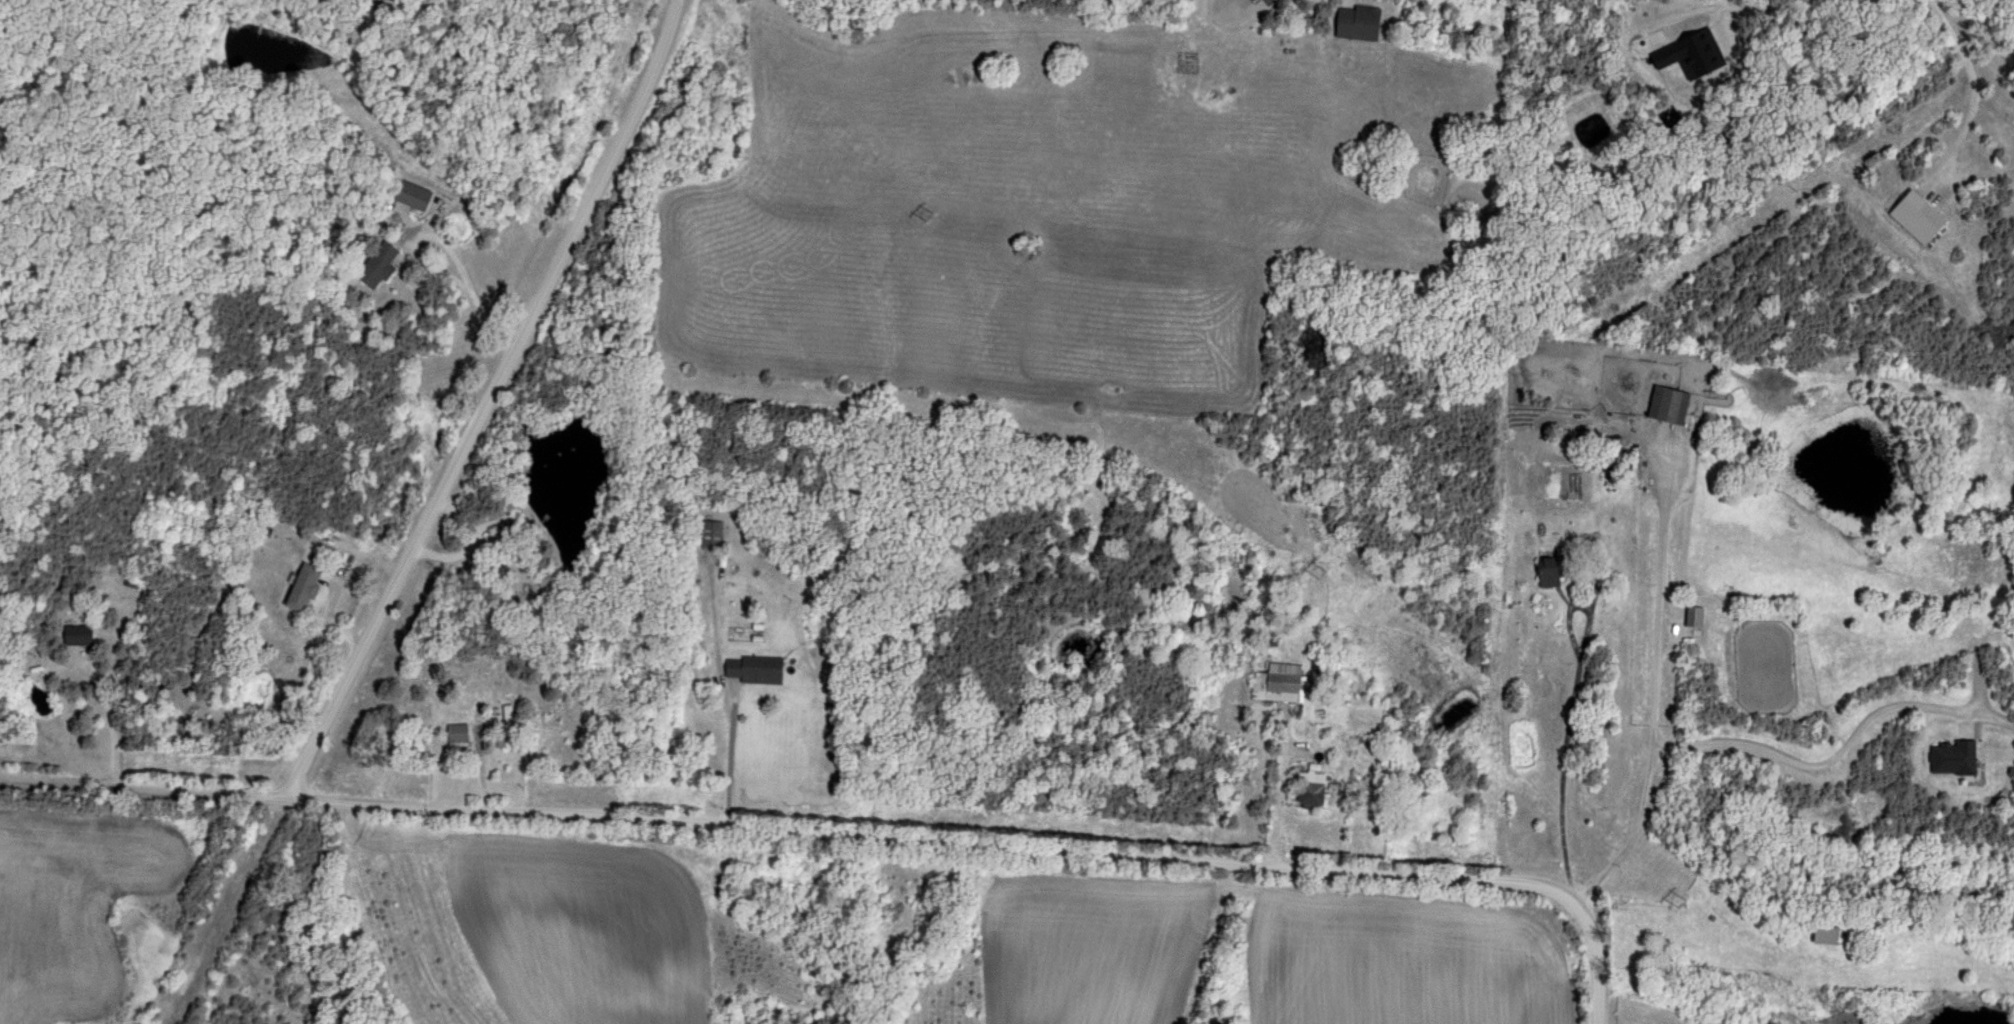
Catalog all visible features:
road: (1724, 4)
road: (1243, 9)
building: (1361, 23)
road: (1969, 79)
building: (416, 197)
power tower: (931, 215)
building: (1920, 217)
road: (441, 243)
building: (379, 264)
road: (484, 400)
building: (1670, 404)
building: (711, 534)
building: (1559, 566)
power tower: (1320, 568)
building: (307, 587)
building: (82, 635)
building: (757, 669)
building: (1284, 688)
road: (1654, 693)
building: (508, 726)
building: (459, 733)
road: (728, 754)
road: (1823, 761)
road: (1563, 774)
building: (1316, 789)
road: (785, 827)
power tower: (1681, 900)
road: (1596, 954)

